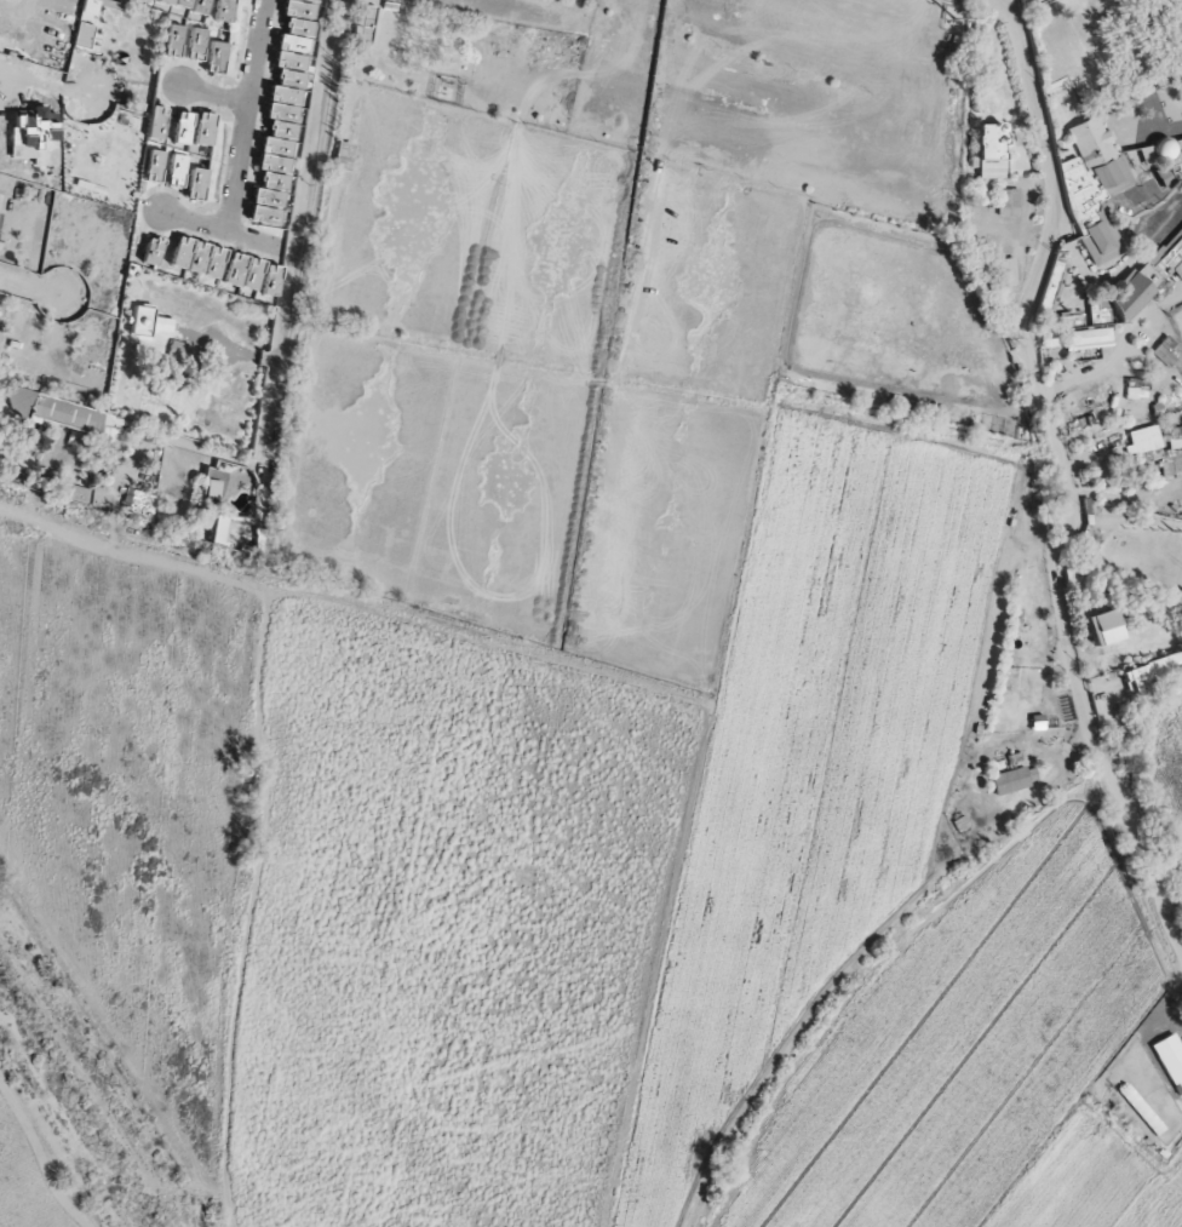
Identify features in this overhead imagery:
building: (140, 0)
building: (1029, 1)
building: (154, 2)
building: (171, 5)
building: (188, 7)
building: (211, 11)
road: (873, 13)
road: (792, 47)
road: (661, 57)
road: (35, 82)
road: (762, 85)
road: (896, 94)
road: (208, 98)
road: (378, 105)
road: (239, 116)
road: (730, 128)
building: (991, 154)
road: (207, 229)
road: (282, 269)
road: (1114, 275)
road: (1109, 351)
park: (546, 379)
road: (1063, 480)
road: (1124, 495)
road: (165, 564)
road: (987, 626)
crop: (817, 763)
crop: (1171, 768)
building: (1009, 782)
crop: (127, 787)
crop: (442, 929)
crop: (992, 1061)
crop: (30, 1176)

